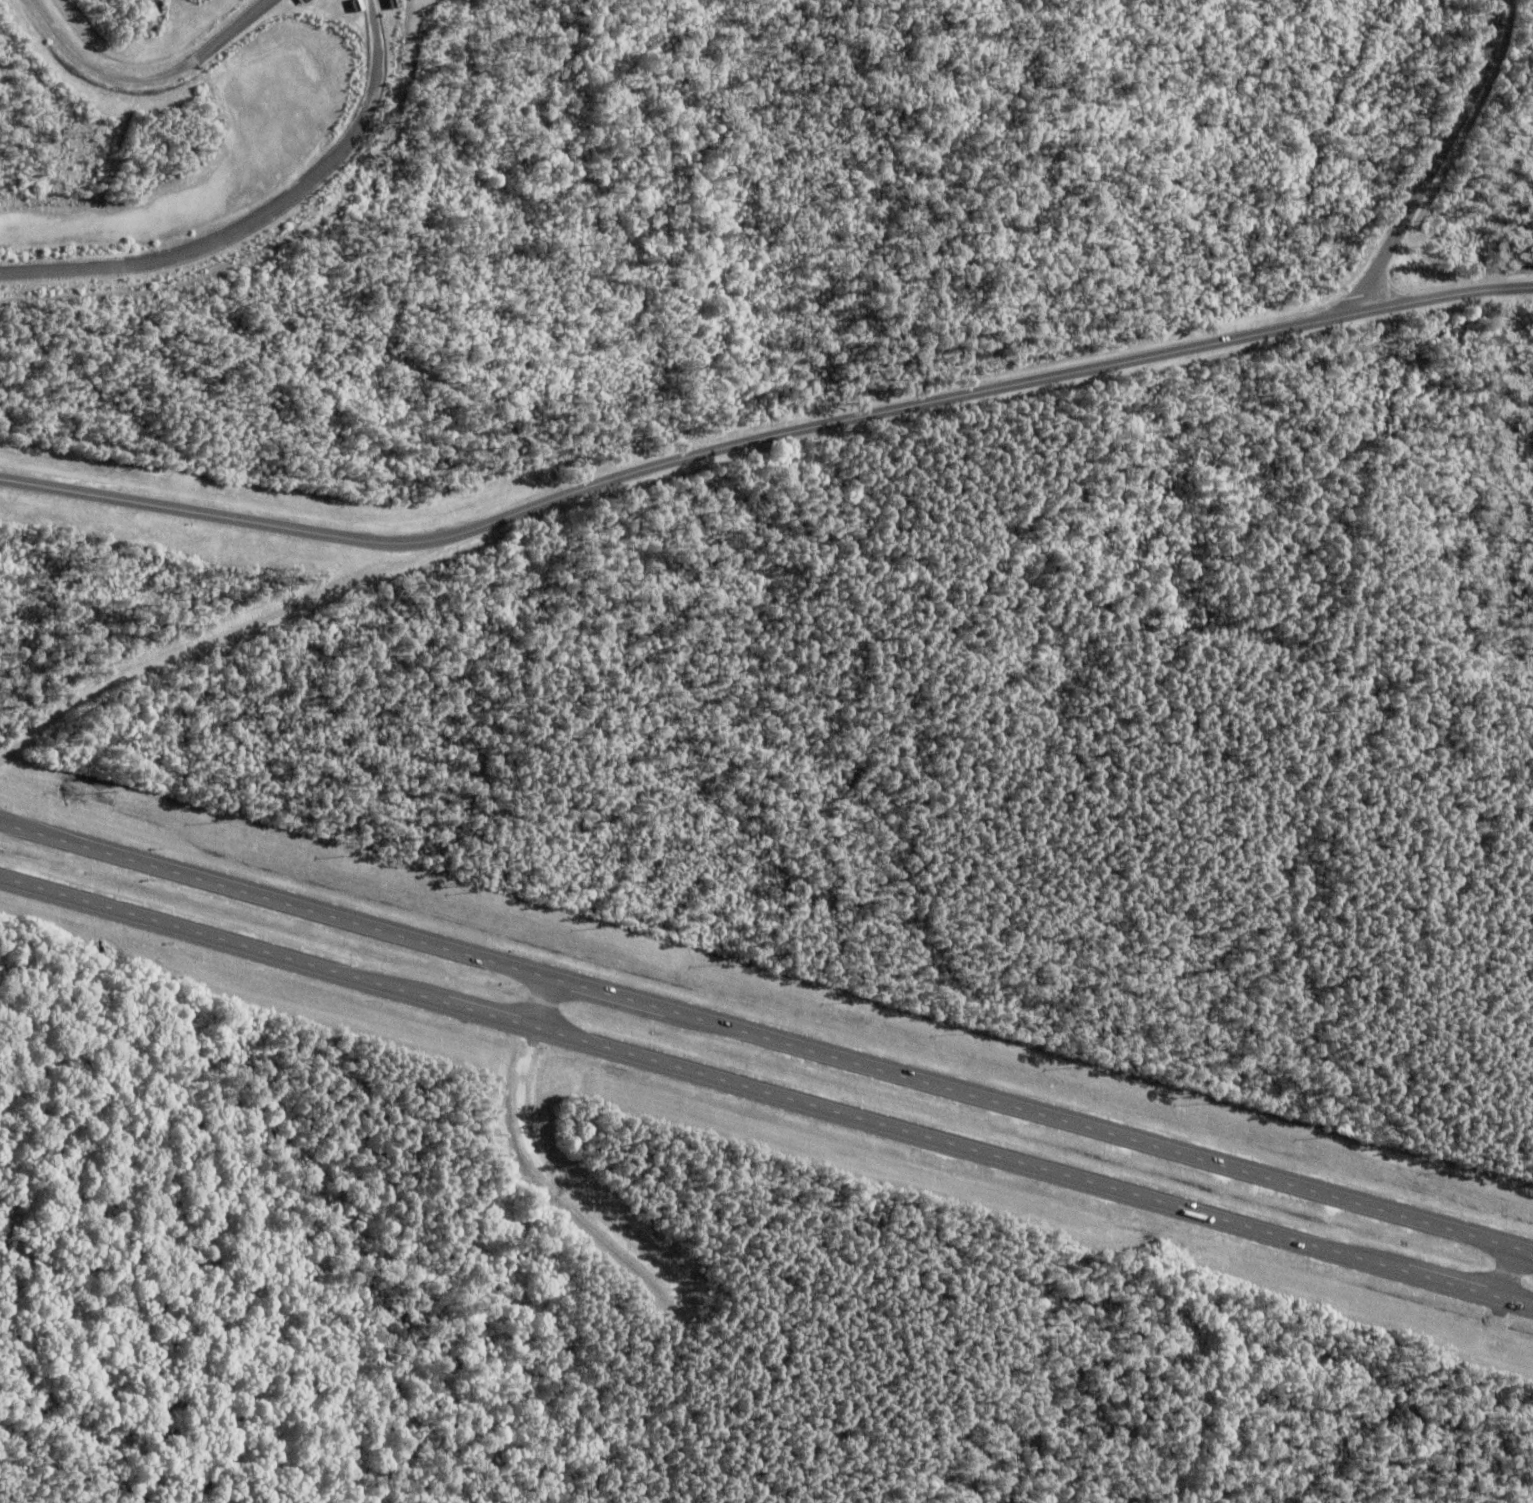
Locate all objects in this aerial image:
road: (1439, 160)
road: (764, 440)
road: (766, 1038)
road: (766, 1092)

